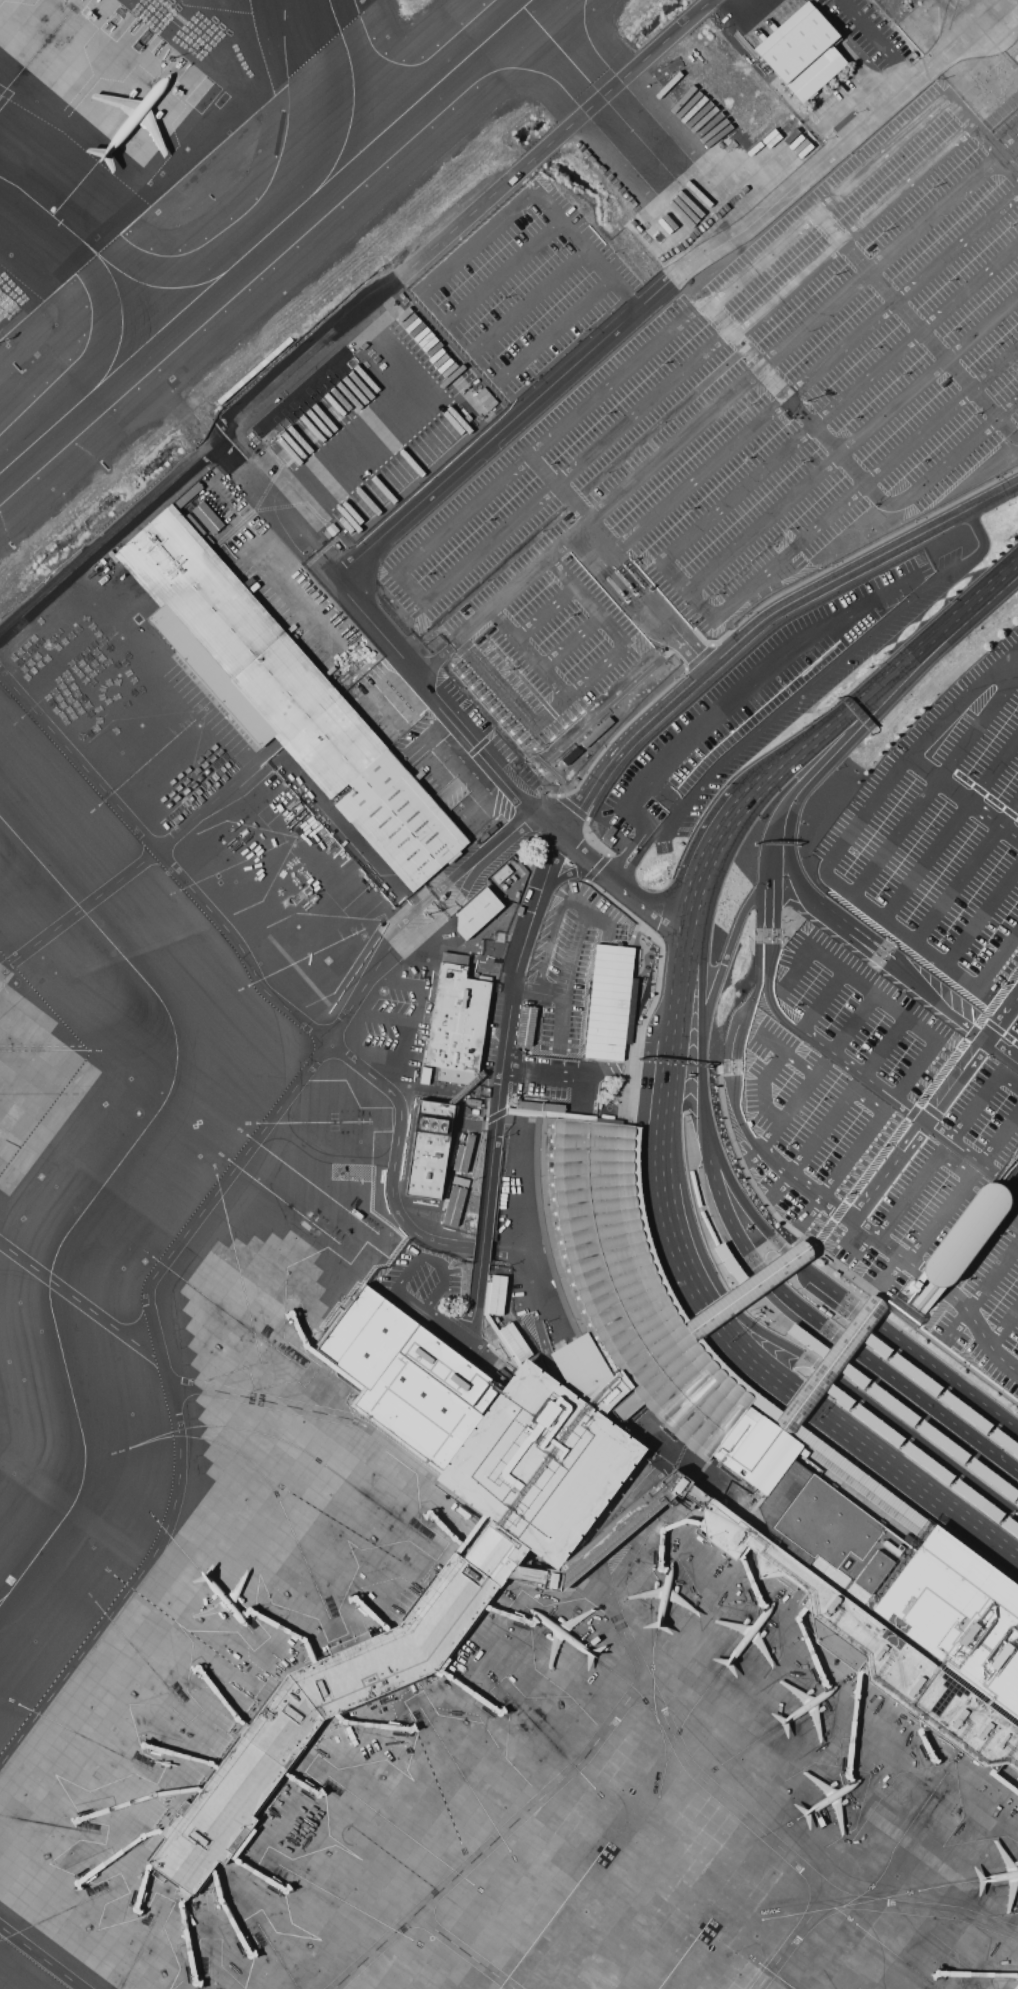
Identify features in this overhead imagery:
road: (877, 40)
building: (802, 53)
road: (5, 93)
airport taxiway: (601, 93)
airport taxiway: (353, 99)
airport apron: (100, 130)
road: (982, 134)
street lamp: (933, 187)
road: (517, 201)
airport taxiway: (45, 209)
street lamp: (1011, 225)
street lamp: (884, 231)
airport taxiway: (265, 236)
road: (502, 274)
street lamp: (835, 275)
road: (741, 278)
street lamp: (948, 280)
airport taxiway: (152, 285)
road: (527, 299)
road: (767, 308)
street lamp: (665, 310)
road: (347, 311)
airport taxiway: (121, 315)
road: (568, 316)
road: (916, 325)
street lamp: (1016, 330)
road: (610, 332)
street lamp: (993, 345)
street lamp: (872, 348)
street lamp: (663, 363)
street lamp: (902, 375)
road: (805, 381)
road: (737, 386)
building: (485, 398)
road: (794, 402)
road: (839, 402)
street lamp: (749, 404)
street lamp: (606, 414)
street lamp: (973, 414)
street lamp: (793, 419)
street lamp: (665, 422)
parking lot: (740, 423)
road: (907, 446)
road: (838, 456)
road: (952, 458)
street lamp: (747, 460)
street lamp: (802, 462)
street lamp: (919, 462)
street lamp: (549, 464)
street lamp: (608, 472)
road: (559, 487)
street lamp: (871, 505)
street lamp: (691, 509)
road: (278, 510)
building: (206, 517)
street lamp: (486, 520)
road: (974, 521)
street lamp: (788, 528)
street lamp: (542, 531)
street lamp: (771, 542)
street lamp: (426, 574)
toll booth: (632, 579)
street lamp: (486, 581)
road: (412, 586)
toll booth: (623, 587)
road: (814, 589)
road: (626, 590)
road: (652, 590)
street lamp: (714, 593)
toll booth: (615, 595)
road: (646, 595)
road: (618, 599)
road: (733, 601)
road: (969, 604)
road: (546, 612)
street lamp: (570, 616)
road: (974, 620)
road: (571, 641)
road: (530, 651)
road: (436, 654)
street lamp: (508, 669)
road: (580, 685)
building: (283, 695)
road: (797, 698)
parking lot: (764, 700)
road: (730, 701)
street lamp: (594, 702)
road: (961, 703)
road: (856, 704)
road: (831, 751)
road: (483, 760)
road: (544, 763)
road: (825, 768)
road: (593, 780)
road: (767, 780)
road: (936, 783)
airport apron: (210, 788)
road: (983, 792)
road: (963, 797)
road: (572, 807)
road: (866, 814)
road: (950, 826)
road: (504, 837)
road: (592, 839)
parking lot: (945, 846)
toll booth: (638, 854)
road: (163, 859)
road: (142, 860)
road: (704, 865)
road: (597, 867)
road: (567, 872)
road: (967, 873)
road: (765, 879)
road: (623, 887)
road: (772, 907)
building: (476, 913)
road: (982, 915)
road: (407, 917)
road: (603, 919)
road: (901, 929)
road: (425, 932)
road: (854, 932)
road: (632, 933)
road: (551, 935)
road: (908, 951)
road: (998, 961)
road: (724, 962)
road: (798, 969)
road: (567, 977)
road: (701, 986)
road: (657, 987)
road: (679, 987)
airport: (509, 994)
road: (874, 994)
road: (769, 995)
road: (823, 1000)
building: (607, 1001)
road: (939, 1003)
road: (343, 1015)
building: (457, 1016)
road: (560, 1017)
road: (1001, 1018)
road: (735, 1021)
road: (854, 1024)
building: (525, 1025)
road: (505, 1029)
road: (1001, 1030)
road: (885, 1046)
parking lot: (897, 1051)
road: (1001, 1051)
road: (786, 1052)
road: (1015, 1054)
road: (847, 1063)
road: (915, 1069)
road: (559, 1074)
building: (425, 1076)
building: (458, 1077)
road: (954, 1079)
airport apron: (33, 1083)
road: (764, 1086)
road: (981, 1098)
road: (868, 1101)
road: (908, 1109)
road: (913, 1111)
road: (944, 1111)
road: (787, 1113)
road: (703, 1130)
road: (999, 1138)
road: (811, 1144)
building: (429, 1149)
building: (464, 1155)
road: (971, 1155)
road: (723, 1166)
road: (888, 1169)
road: (841, 1170)
road: (963, 1171)
railway: (1008, 1172)
road: (392, 1176)
road: (519, 1176)
railway: (1008, 1176)
road: (1014, 1181)
airport taxiway: (132, 1190)
road: (967, 1193)
parking lot: (881, 1194)
building: (455, 1201)
road: (986, 1206)
road: (701, 1209)
road: (840, 1209)
road: (1009, 1222)
railway: (973, 1224)
building: (962, 1236)
railway: (968, 1239)
road: (481, 1247)
road: (435, 1260)
road: (831, 1260)
railway: (942, 1266)
road: (732, 1268)
road: (923, 1275)
road: (932, 1277)
road: (364, 1278)
road: (657, 1284)
building: (749, 1285)
road: (538, 1287)
traffic signals: (722, 1291)
road: (746, 1291)
building: (496, 1293)
road: (981, 1295)
road: (409, 1300)
road: (907, 1300)
road: (80, 1301)
traffic signals: (705, 1301)
road: (815, 1301)
road: (473, 1302)
building: (911, 1303)
road: (767, 1311)
road: (970, 1314)
road: (910, 1316)
road: (869, 1317)
road: (1004, 1328)
road: (458, 1335)
road: (838, 1336)
building: (514, 1341)
road: (747, 1354)
road: (805, 1356)
road: (1002, 1360)
road: (831, 1363)
building: (915, 1374)
road: (937, 1391)
traffic signals: (794, 1392)
road: (170, 1397)
road: (257, 1398)
road: (977, 1399)
building: (892, 1403)
building: (965, 1411)
road: (904, 1413)
building: (788, 1416)
building: (877, 1425)
building: (942, 1441)
building: (1004, 1441)
road: (393, 1446)
airport terminal: (503, 1447)
building: (504, 1448)
road: (918, 1457)
building: (927, 1462)
building: (992, 1478)
road: (644, 1485)
road: (889, 1499)
building: (977, 1500)
building: (1017, 1503)
building: (1010, 1526)
airport terminal: (613, 1532)
building: (613, 1532)
road: (609, 1536)
airport taxiway: (4, 1596)
airport terminal: (900, 1614)
building: (900, 1614)
airport apron: (483, 1742)
road: (715, 1791)
road: (494, 1838)
road: (921, 1908)
airport taxiway: (553, 1915)
road: (463, 1951)
airport taxiway: (684, 1953)
road: (41, 1957)

